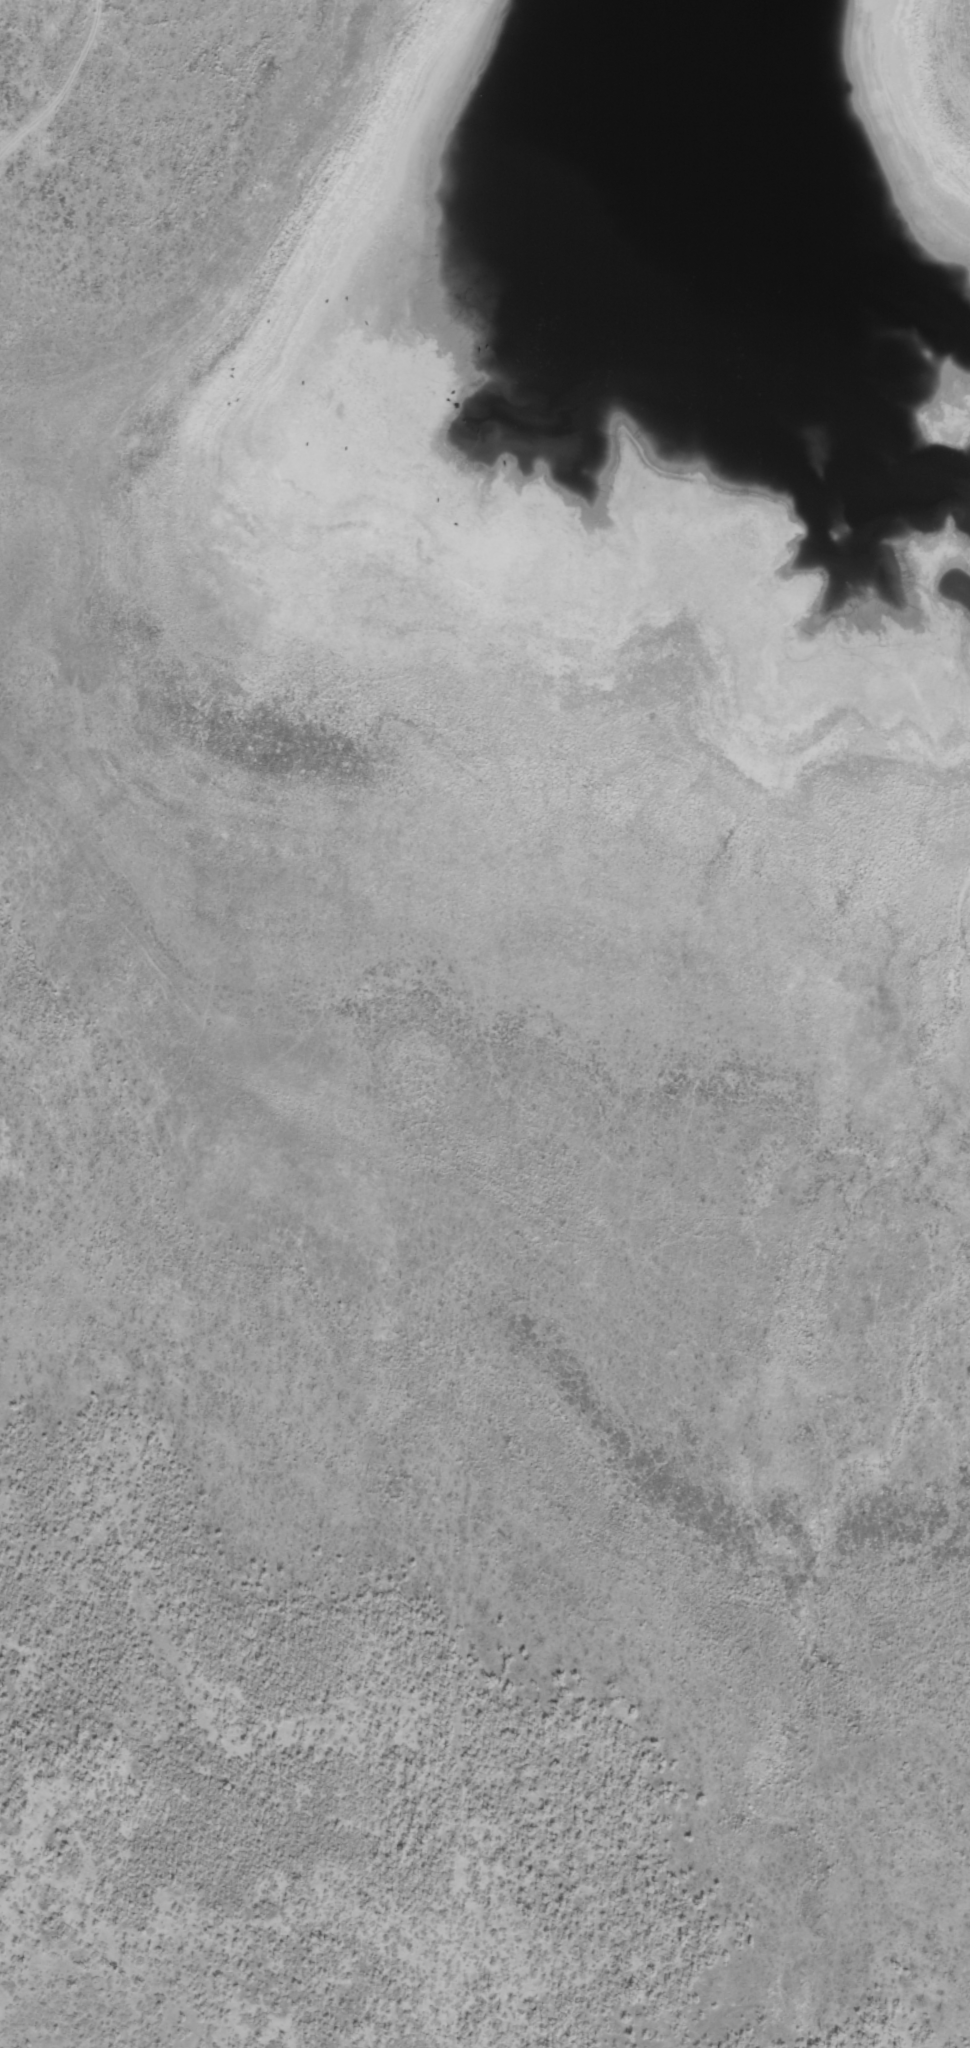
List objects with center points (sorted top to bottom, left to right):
road: (276, 1839)

